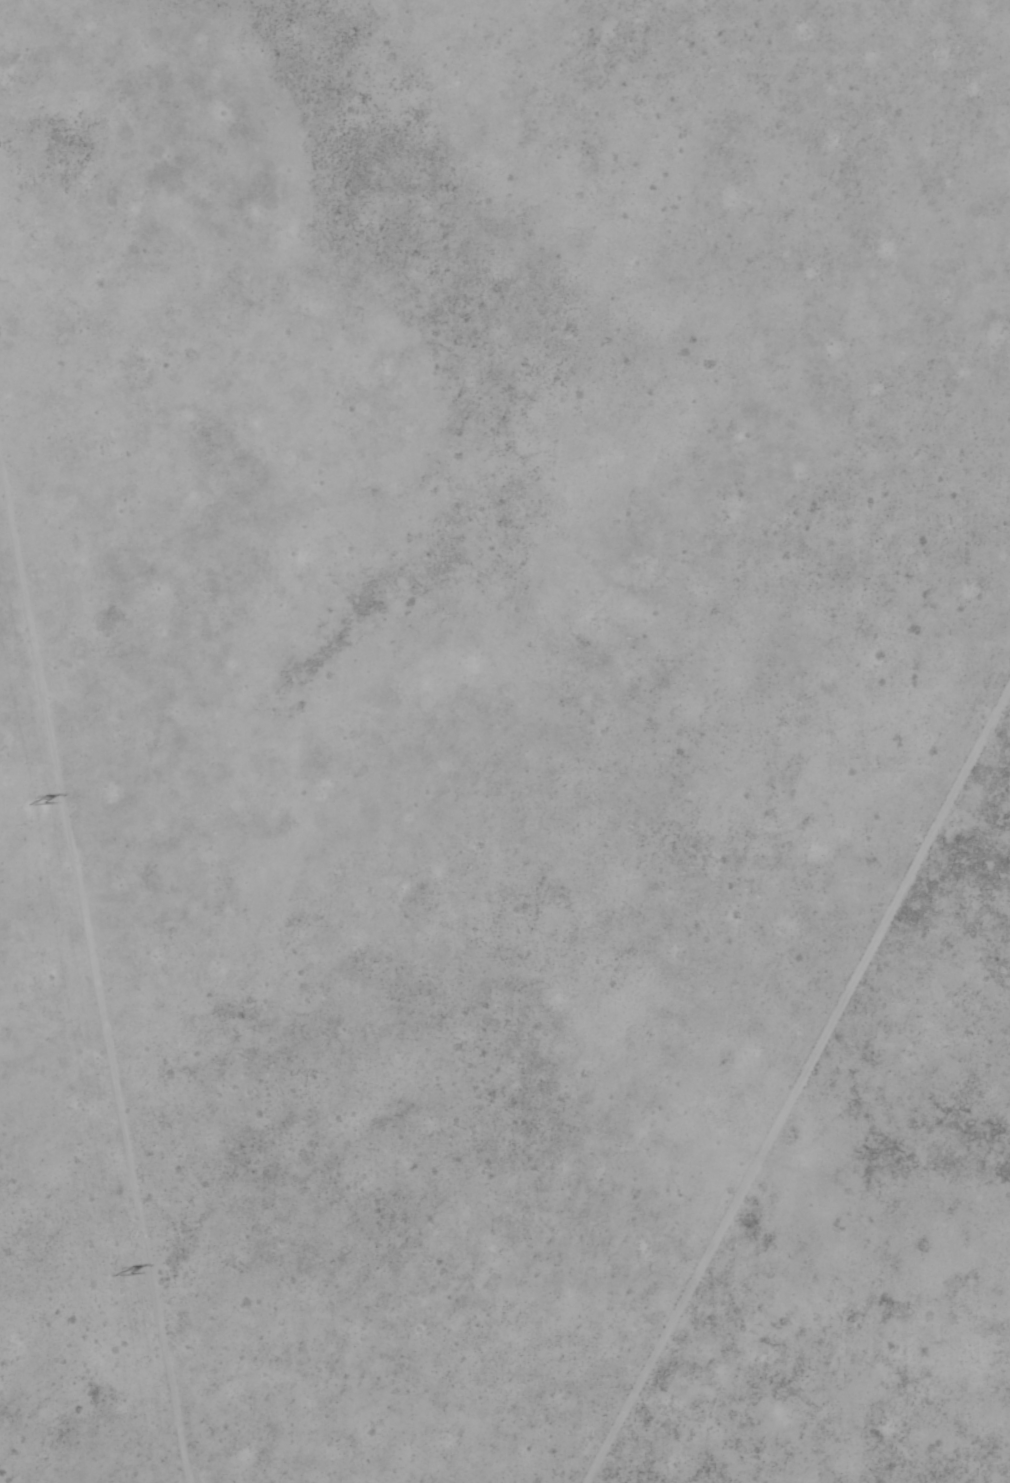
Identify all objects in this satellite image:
road: (180, 741)
power tower: (39, 806)
power tower: (125, 1279)

